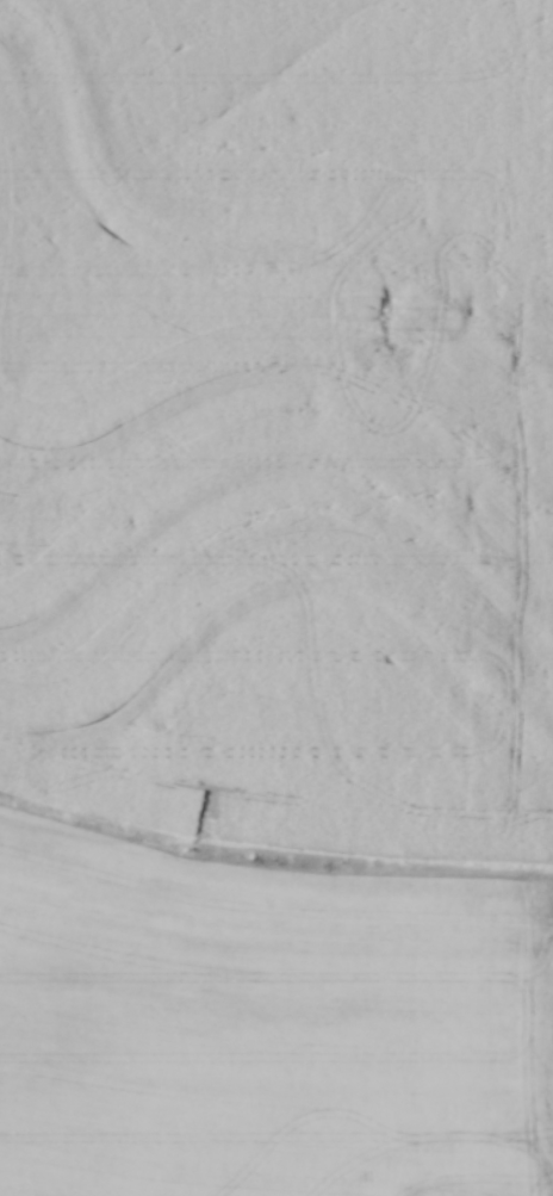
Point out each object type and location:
power tower: (383, 314)

